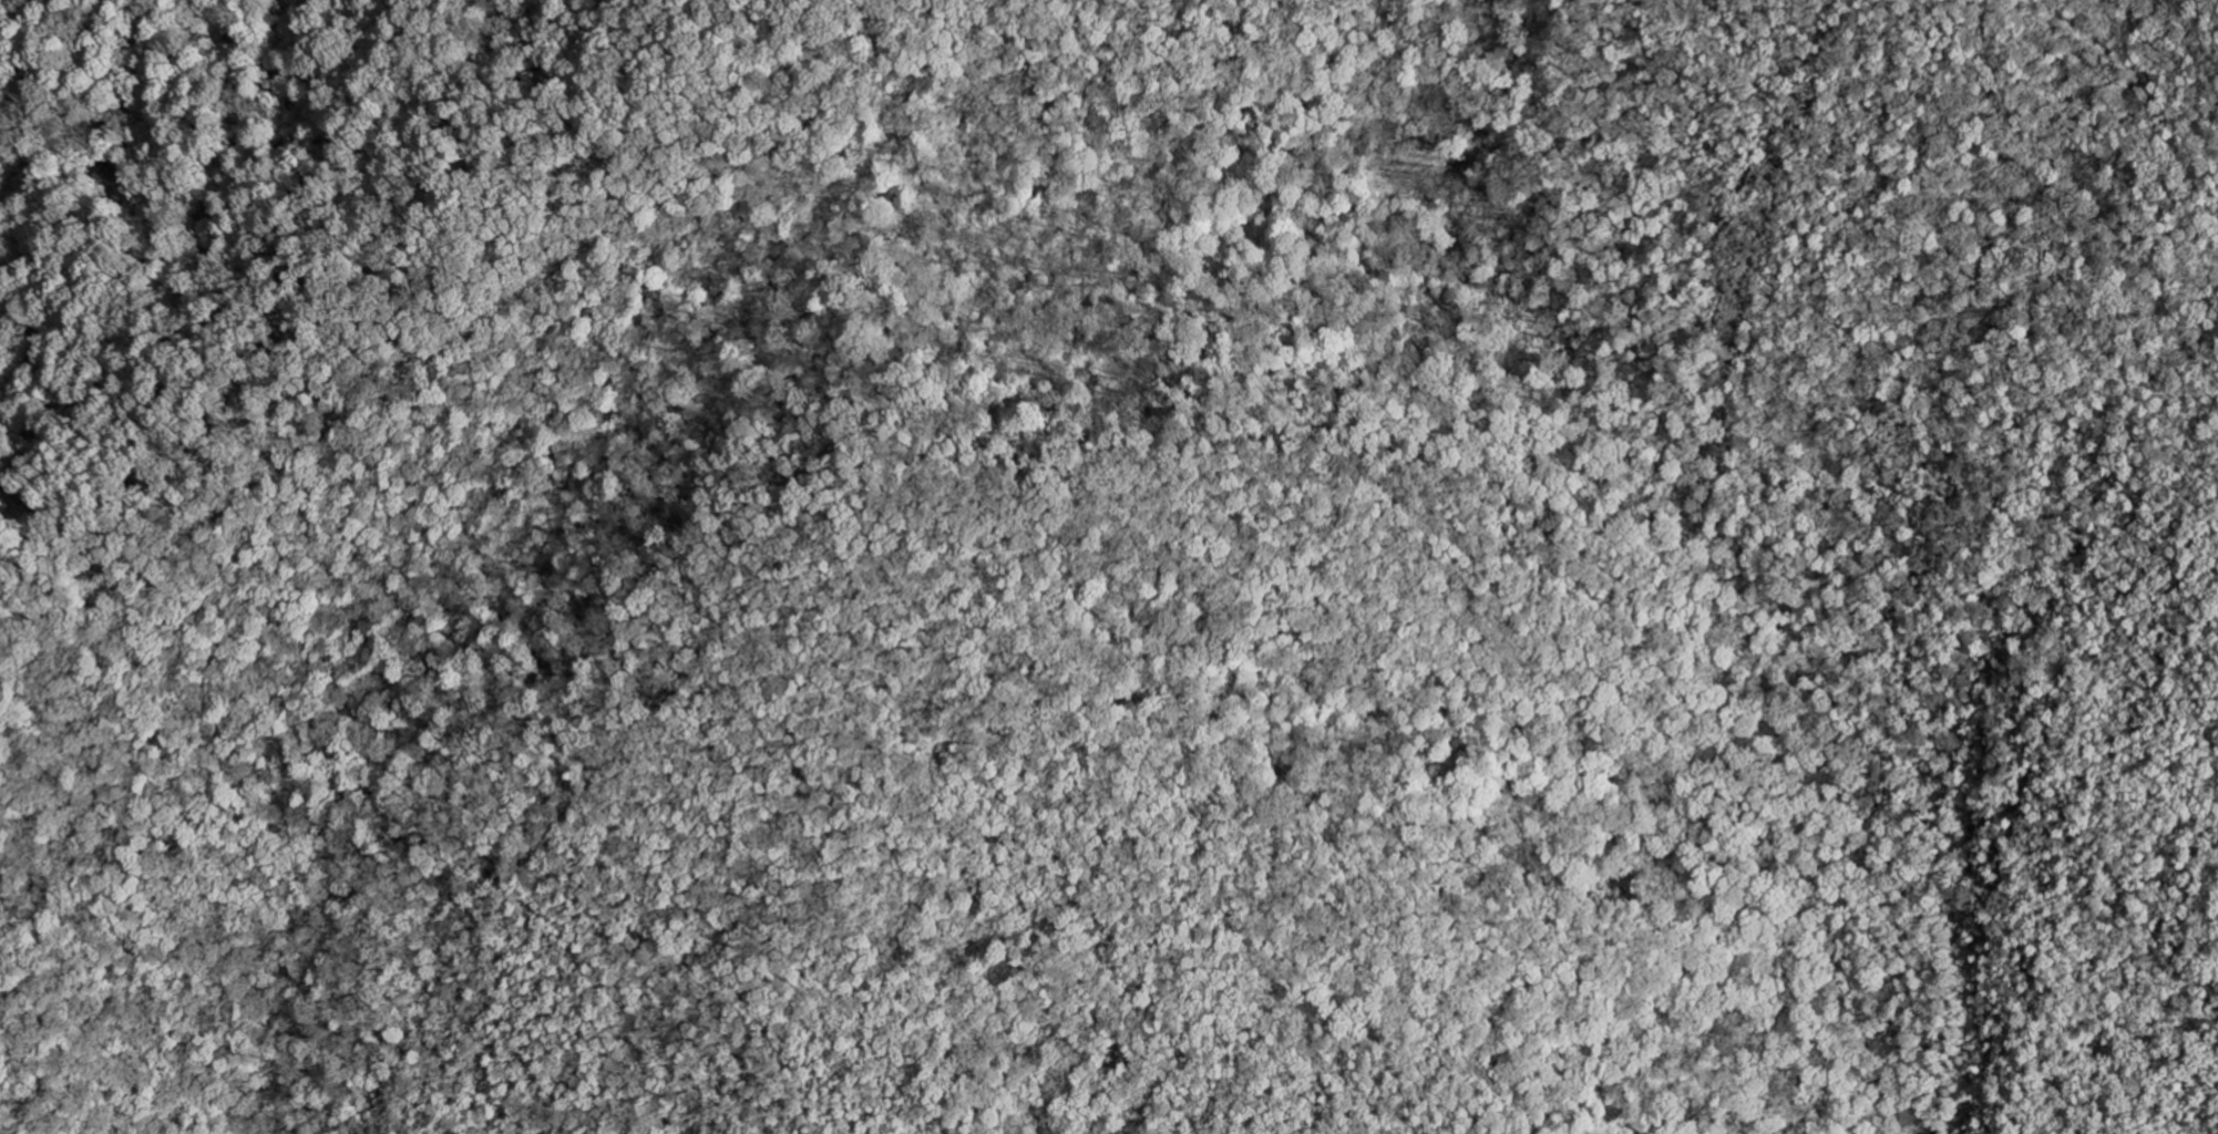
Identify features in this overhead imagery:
road: (462, 337)
road: (324, 647)

